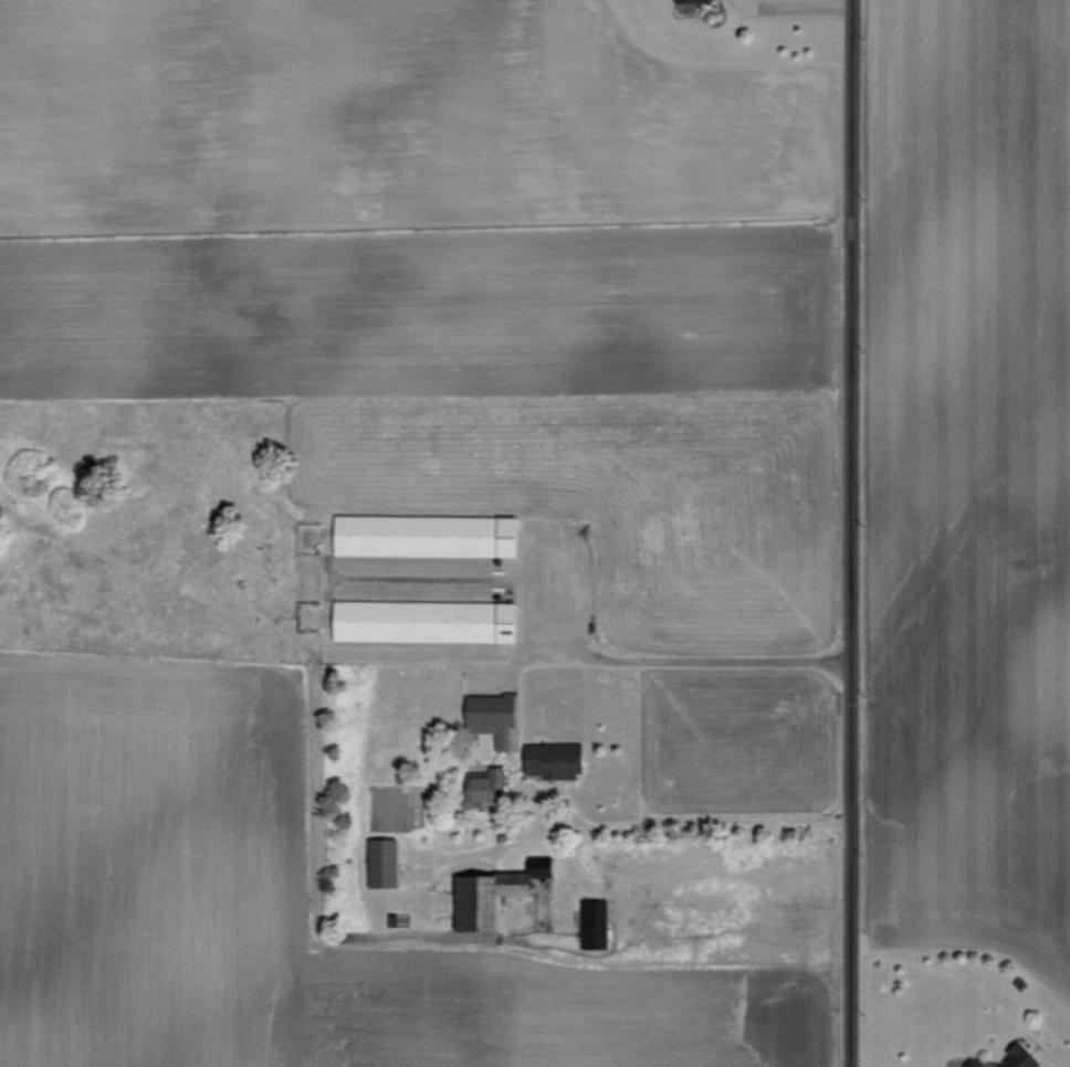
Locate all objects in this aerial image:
building: (697, 0)
road: (795, 6)
building: (429, 533)
road: (847, 533)
building: (428, 620)
road: (657, 655)
building: (496, 717)
building: (554, 759)
building: (487, 786)
road: (623, 826)
building: (386, 860)
building: (492, 894)
building: (596, 921)
building: (1011, 1056)
building: (969, 1064)

